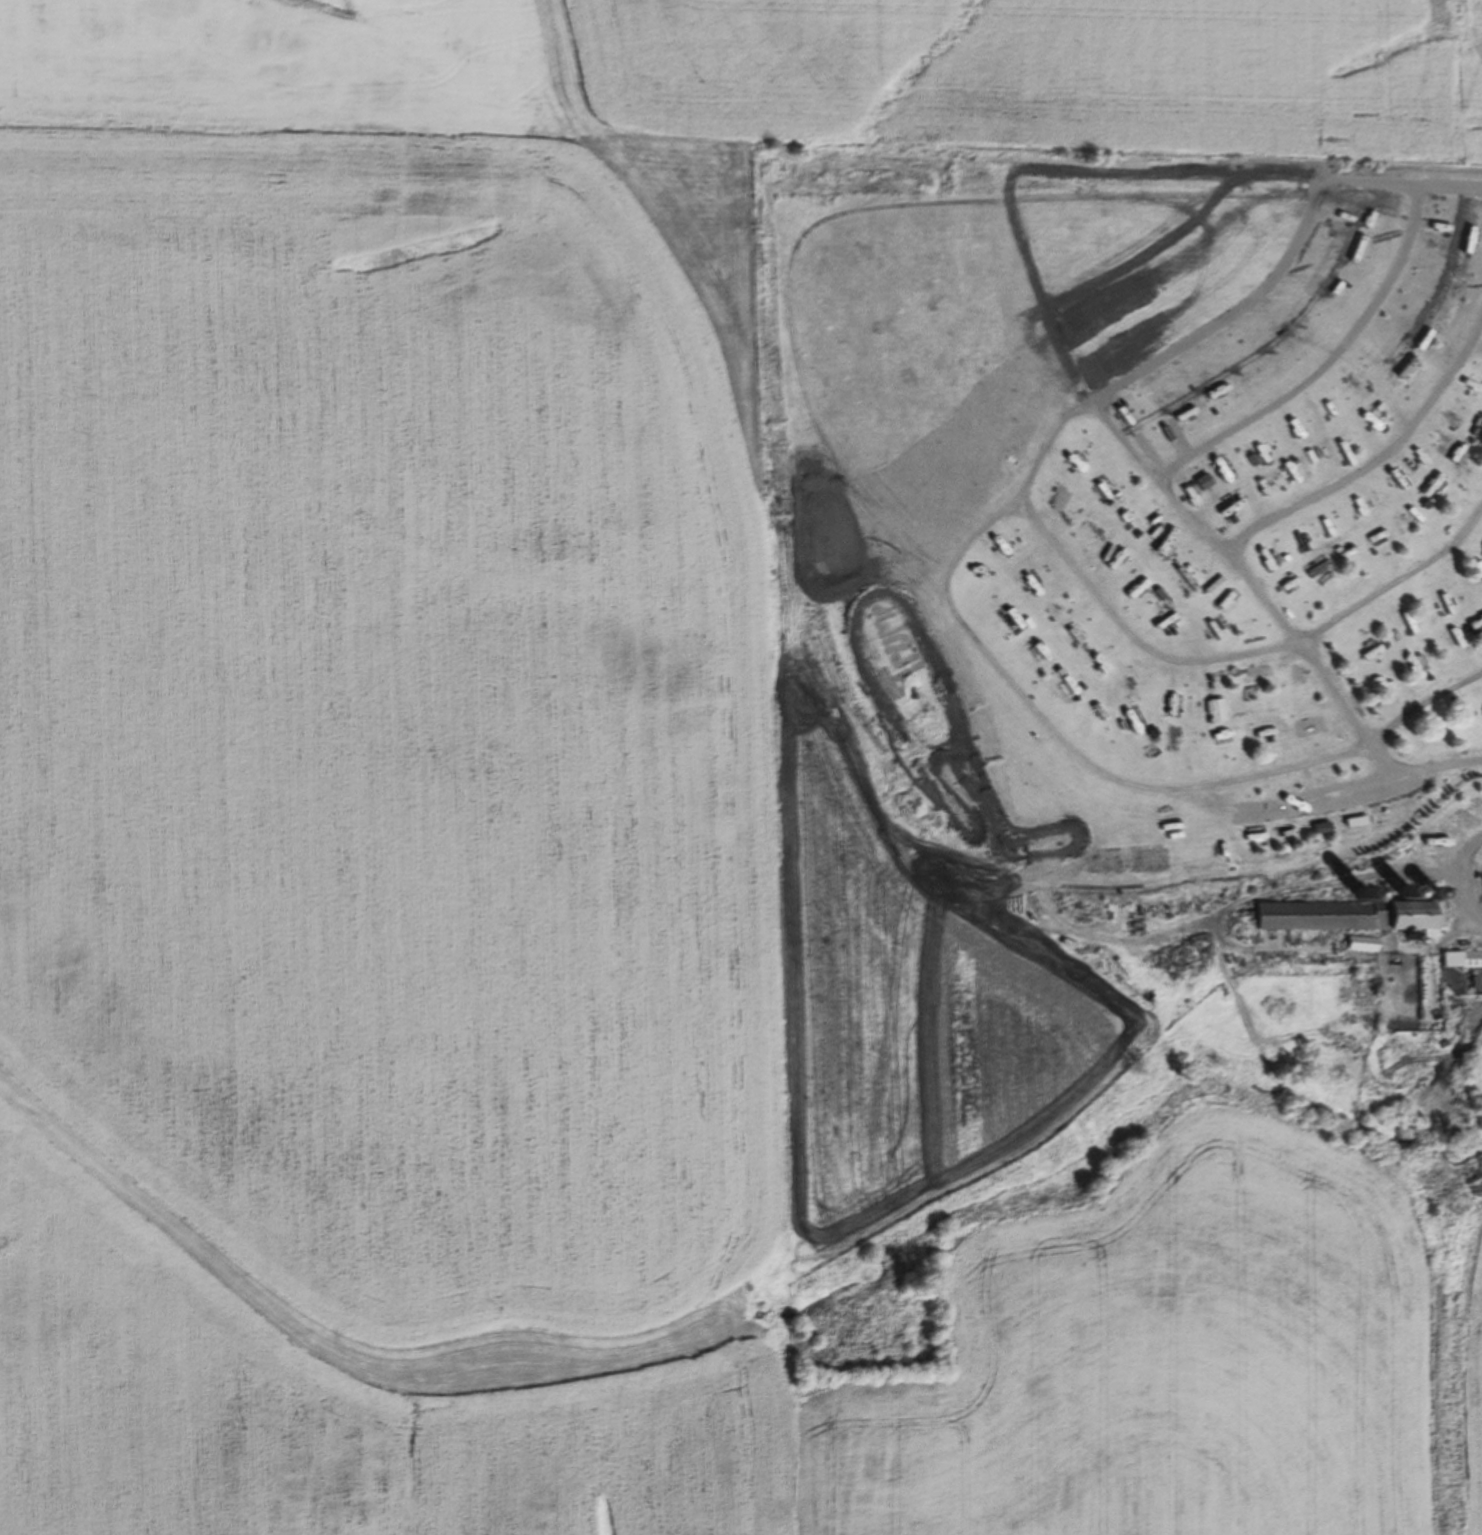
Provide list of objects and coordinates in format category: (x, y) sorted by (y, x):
road: (1347, 609)
road: (1423, 702)
road: (1421, 770)
road: (1449, 869)
building: (1431, 891)
building: (1361, 892)
building: (1403, 892)
building: (1347, 914)
building: (1461, 958)

